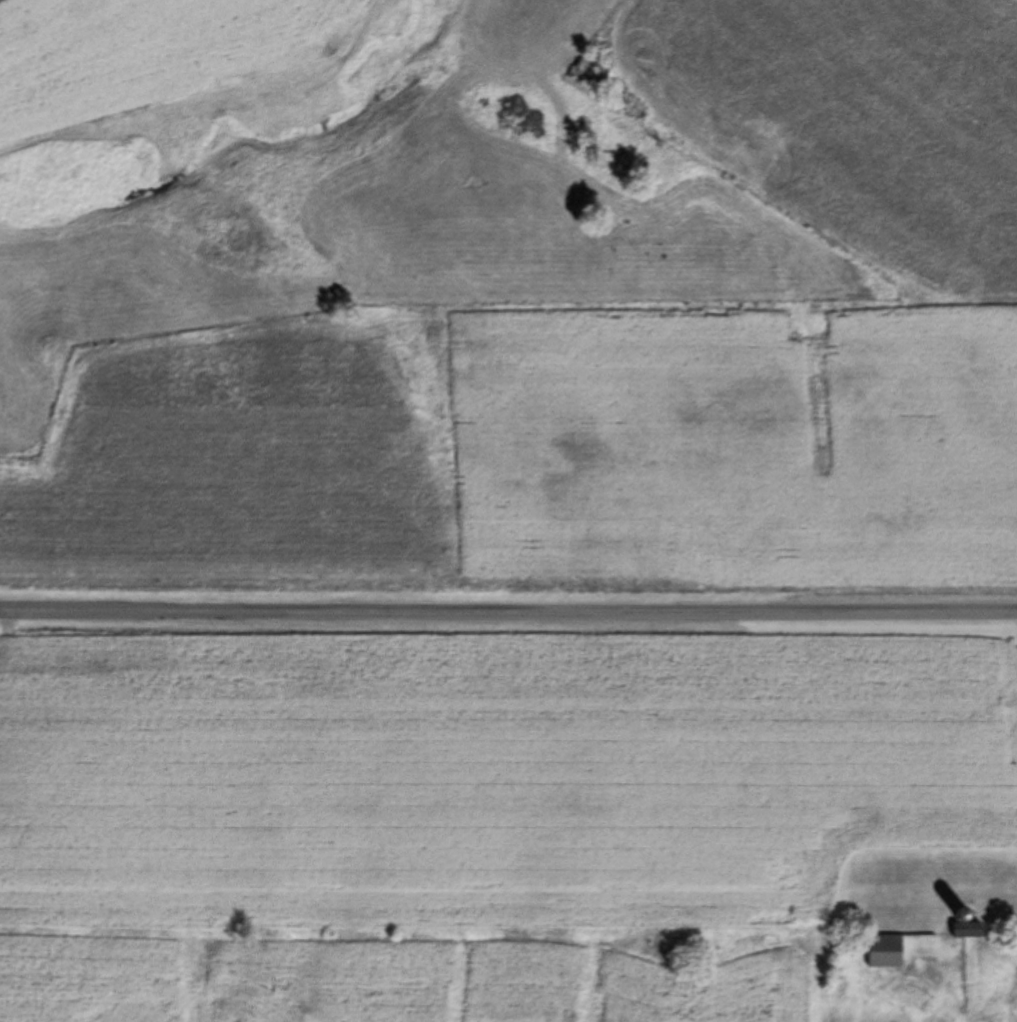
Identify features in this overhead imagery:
road: (508, 608)
building: (887, 952)

